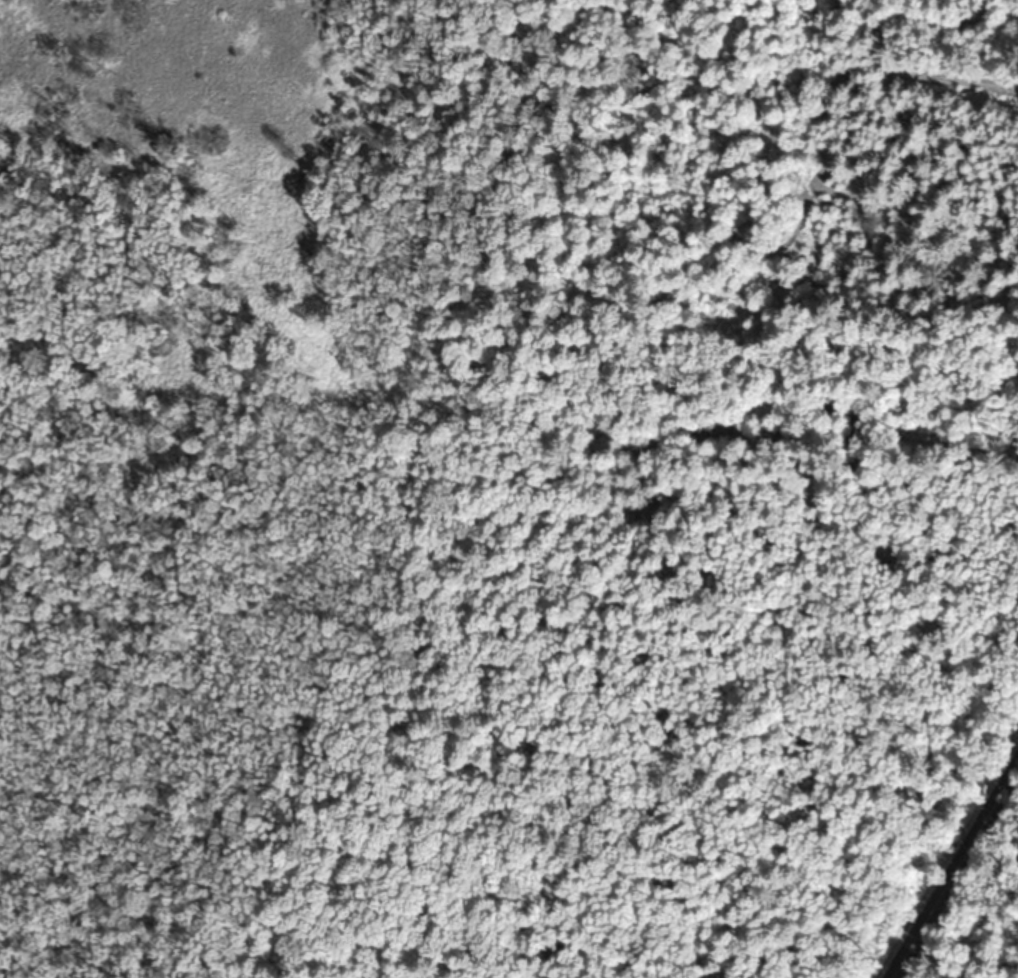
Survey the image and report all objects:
road: (956, 876)

